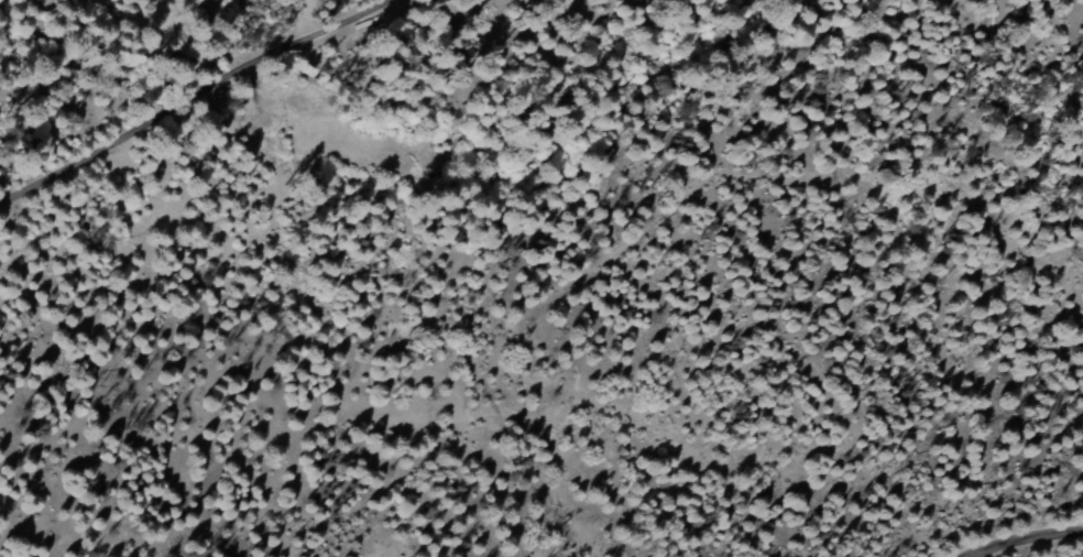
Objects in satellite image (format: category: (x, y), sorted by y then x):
road: (176, 105)
road: (1027, 546)

